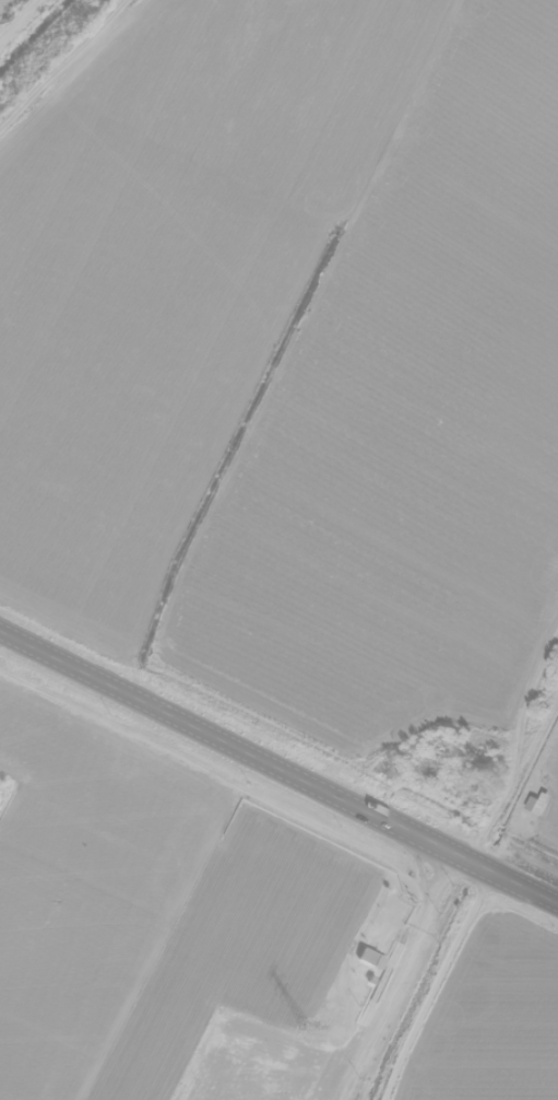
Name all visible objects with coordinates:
road: (278, 770)
power tower: (307, 1028)

